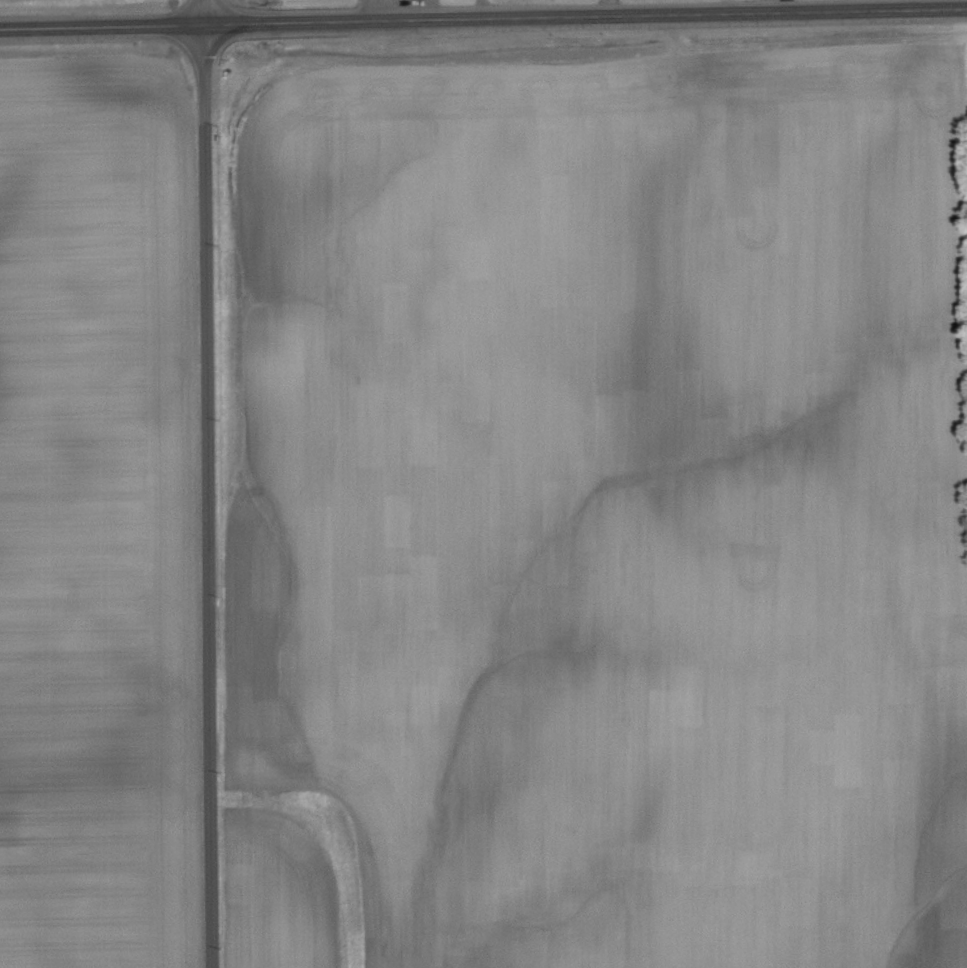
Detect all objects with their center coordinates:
road: (381, 9)
road: (483, 15)
road: (207, 483)

